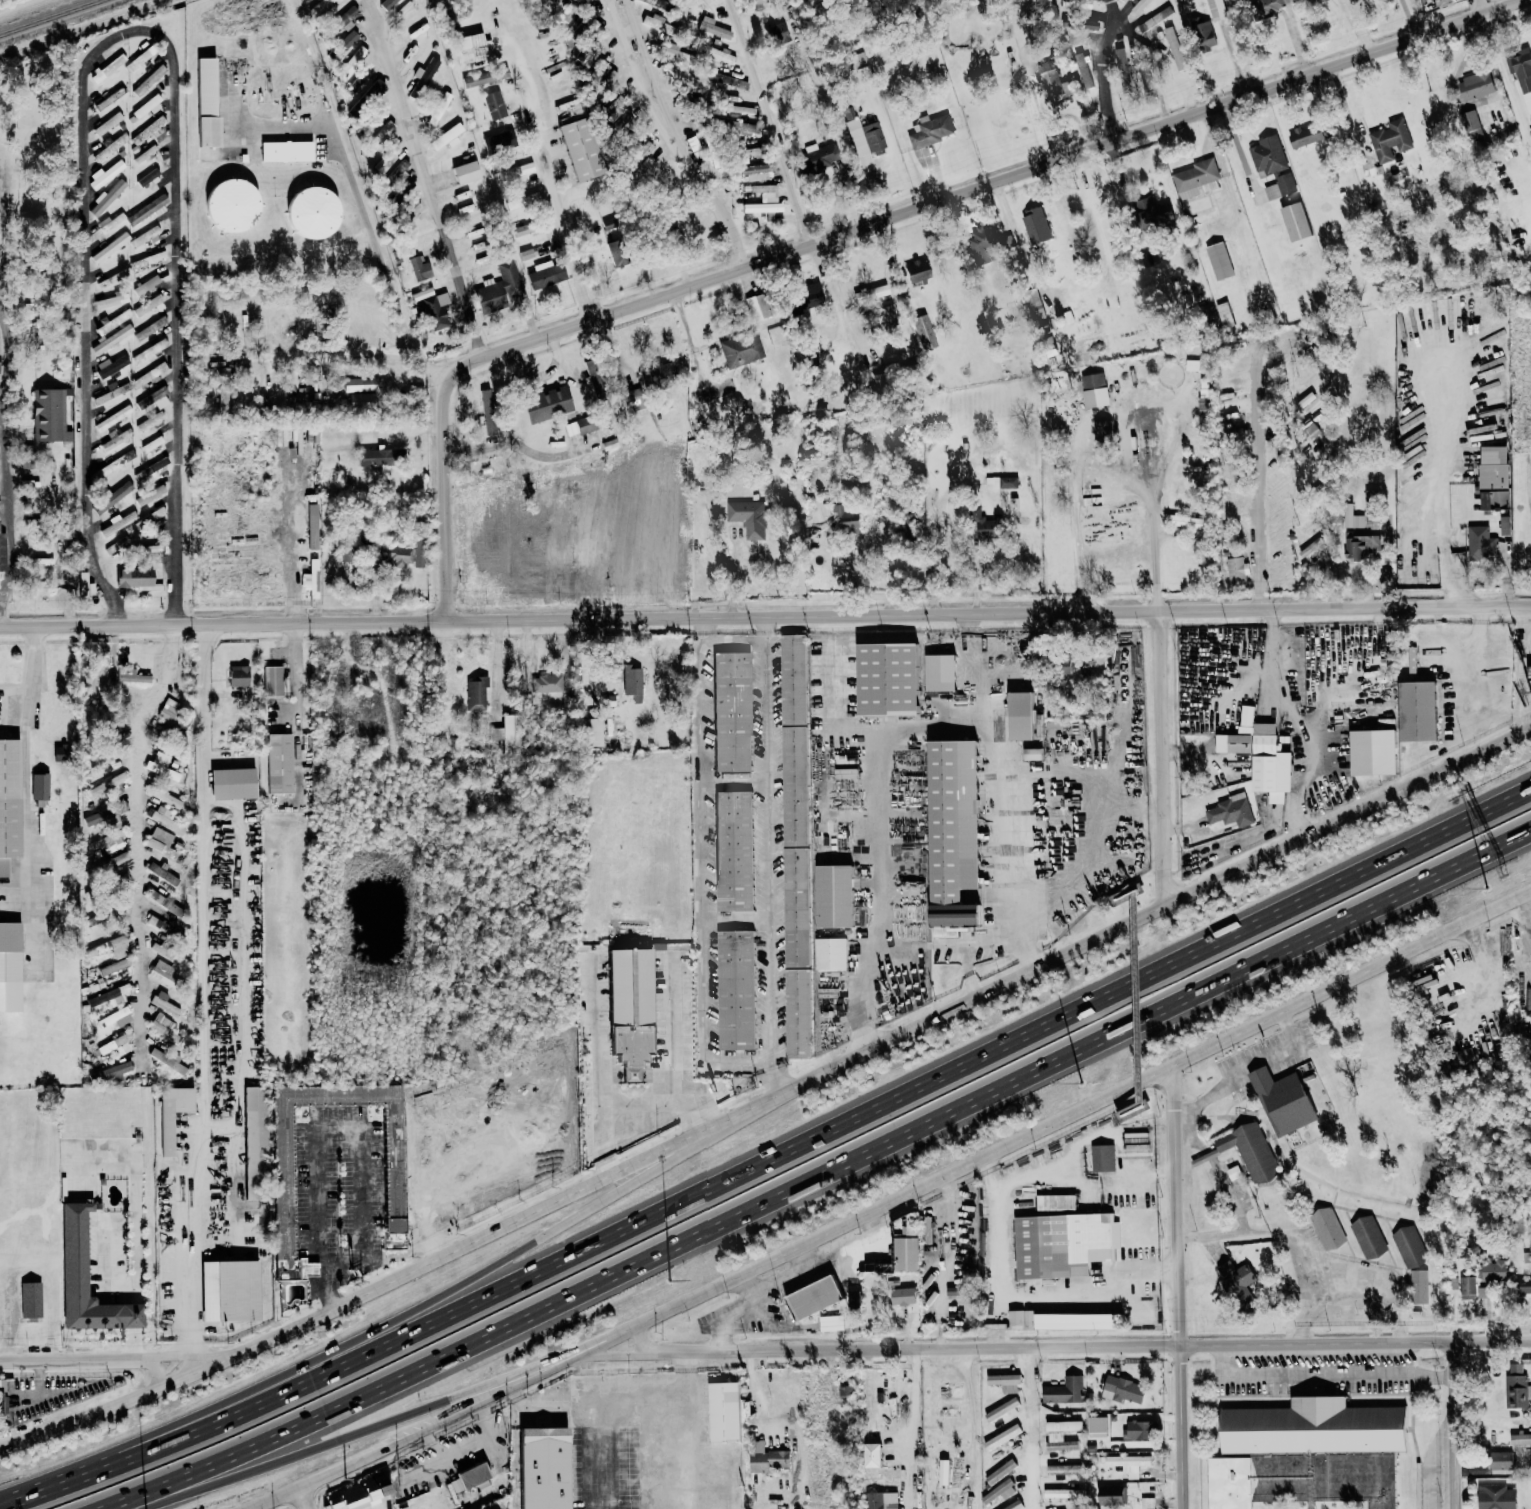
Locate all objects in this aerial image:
building: (560, 1)
building: (1122, 1)
building: (582, 2)
building: (653, 2)
building: (386, 3)
building: (1217, 3)
building: (1082, 4)
building: (319, 5)
building: (1139, 6)
building: (1266, 8)
building: (589, 15)
railway: (50, 16)
road: (733, 16)
building: (1154, 19)
building: (340, 20)
building: (1085, 25)
building: (712, 27)
building: (776, 33)
building: (1203, 33)
building: (346, 40)
building: (470, 47)
building: (1175, 48)
building: (666, 51)
building: (360, 52)
building: (719, 54)
building: (685, 57)
building: (138, 59)
building: (859, 60)
building: (107, 67)
road: (1104, 67)
building: (1520, 67)
building: (1083, 69)
building: (425, 70)
building: (484, 77)
building: (1146, 77)
building: (685, 78)
building: (1050, 79)
building: (148, 80)
building: (727, 80)
road: (1507, 80)
building: (1475, 85)
building: (375, 86)
building: (105, 96)
building: (205, 103)
building: (493, 104)
building: (147, 105)
building: (438, 108)
building: (741, 109)
road: (1346, 110)
road: (1055, 112)
building: (610, 114)
road: (170, 117)
building: (1469, 119)
building: (107, 123)
building: (740, 127)
building: (147, 129)
building: (930, 130)
building: (862, 133)
building: (1474, 134)
building: (1305, 135)
road: (670, 136)
building: (378, 137)
building: (446, 137)
road: (774, 137)
building: (1390, 139)
building: (504, 140)
building: (693, 143)
road: (1237, 144)
building: (110, 147)
building: (579, 149)
building: (286, 150)
building: (745, 152)
building: (144, 154)
building: (711, 154)
building: (641, 156)
building: (813, 158)
building: (1271, 165)
building: (521, 169)
building: (399, 170)
building: (464, 171)
building: (753, 172)
building: (110, 173)
road: (423, 178)
building: (1196, 178)
building: (145, 181)
building: (762, 191)
road: (355, 193)
building: (106, 198)
building: (522, 200)
building: (229, 204)
building: (763, 208)
building: (146, 210)
building: (309, 212)
building: (408, 212)
building: (1152, 212)
road: (86, 215)
road: (558, 215)
building: (1295, 220)
building: (110, 222)
road: (865, 223)
building: (1035, 225)
building: (523, 229)
building: (144, 236)
building: (981, 244)
building: (110, 247)
building: (615, 252)
building: (526, 254)
building: (147, 259)
building: (1219, 260)
building: (418, 268)
building: (916, 271)
building: (545, 274)
building: (113, 278)
building: (145, 285)
road: (827, 287)
building: (494, 290)
building: (870, 292)
road: (846, 294)
building: (807, 298)
building: (112, 299)
building: (1028, 300)
building: (147, 304)
building: (756, 307)
building: (436, 310)
building: (881, 311)
building: (1207, 313)
building: (1224, 313)
building: (1066, 317)
building: (113, 322)
road: (176, 331)
building: (923, 332)
road: (1295, 334)
road: (688, 339)
building: (1234, 343)
building: (740, 349)
building: (149, 351)
road: (334, 355)
building: (1191, 364)
building: (110, 365)
building: (660, 370)
building: (148, 375)
building: (1268, 382)
building: (360, 384)
building: (1094, 389)
building: (111, 393)
building: (147, 399)
building: (359, 399)
building: (1305, 399)
building: (632, 400)
road: (5, 401)
building: (546, 404)
building: (48, 415)
building: (112, 418)
building: (149, 421)
building: (579, 426)
building: (1101, 430)
building: (1311, 430)
building: (116, 438)
building: (380, 456)
building: (115, 463)
road: (1447, 463)
building: (1493, 466)
road: (1107, 475)
building: (1000, 482)
road: (85, 492)
building: (149, 493)
building: (113, 497)
building: (1491, 497)
building: (1371, 509)
building: (748, 517)
building: (1352, 517)
building: (845, 519)
building: (1184, 521)
building: (907, 522)
building: (117, 523)
building: (983, 525)
building: (1504, 525)
building: (312, 526)
road: (887, 530)
building: (60, 532)
building: (1481, 542)
building: (117, 545)
building: (1360, 547)
building: (1311, 548)
building: (147, 550)
building: (405, 551)
building: (2, 552)
building: (1237, 569)
building: (133, 577)
building: (311, 579)
building: (82, 588)
road: (1396, 603)
road: (630, 613)
road: (1524, 659)
road: (302, 666)
road: (973, 667)
building: (939, 672)
building: (238, 675)
building: (130, 676)
road: (1481, 677)
building: (886, 678)
building: (793, 679)
building: (272, 680)
building: (632, 682)
road: (1248, 682)
building: (87, 683)
building: (546, 683)
road: (1272, 684)
building: (475, 693)
building: (1417, 710)
building: (731, 711)
building: (169, 712)
building: (1019, 715)
building: (495, 733)
building: (591, 733)
building: (1032, 753)
road: (1166, 754)
building: (1259, 754)
building: (278, 763)
building: (161, 766)
road: (27, 771)
road: (1299, 774)
road: (739, 778)
building: (115, 783)
building: (231, 783)
building: (794, 785)
building: (39, 786)
road: (887, 796)
building: (165, 798)
building: (8, 802)
building: (1230, 810)
building: (106, 817)
building: (163, 819)
building: (952, 831)
building: (160, 842)
road: (1014, 846)
road: (1100, 847)
building: (733, 850)
road: (776, 856)
road: (144, 864)
road: (706, 867)
road: (1142, 890)
building: (834, 895)
building: (796, 907)
road: (743, 916)
road: (1126, 924)
road: (919, 943)
road: (968, 945)
building: (830, 953)
building: (9, 967)
building: (161, 970)
building: (735, 989)
road: (1137, 995)
road: (205, 999)
road: (865, 1000)
building: (628, 1004)
building: (797, 1013)
building: (115, 1018)
building: (163, 1027)
road: (598, 1040)
building: (115, 1045)
building: (1462, 1055)
road: (674, 1056)
building: (166, 1059)
building: (112, 1072)
road: (1146, 1095)
building: (1282, 1101)
road: (636, 1108)
road: (1062, 1124)
road: (354, 1125)
building: (166, 1134)
road: (822, 1136)
building: (253, 1143)
building: (1250, 1151)
road: (608, 1153)
building: (1102, 1157)
road: (830, 1168)
road: (991, 1171)
building: (392, 1178)
road: (1086, 1184)
road: (1232, 1198)
building: (1055, 1202)
building: (1523, 1219)
building: (1326, 1228)
building: (1368, 1236)
building: (873, 1237)
road: (995, 1239)
road: (1295, 1240)
building: (1063, 1244)
building: (905, 1246)
building: (1409, 1246)
building: (72, 1254)
building: (1526, 1257)
road: (346, 1262)
road: (942, 1263)
building: (1493, 1270)
building: (1238, 1286)
building: (1418, 1287)
building: (1522, 1287)
road: (1183, 1288)
building: (1467, 1288)
road: (749, 1289)
road: (1378, 1289)
building: (228, 1291)
building: (1483, 1292)
road: (761, 1295)
road: (1103, 1295)
building: (902, 1296)
road: (367, 1297)
building: (812, 1298)
building: (30, 1300)
road: (423, 1310)
road: (996, 1320)
building: (1063, 1321)
building: (831, 1323)
road: (1082, 1344)
road: (92, 1360)
road: (1328, 1374)
building: (1004, 1381)
building: (1122, 1389)
building: (1064, 1390)
building: (1515, 1390)
building: (844, 1392)
road: (516, 1394)
road: (914, 1396)
building: (3, 1406)
road: (559, 1407)
building: (1001, 1408)
road: (483, 1410)
building: (723, 1410)
road: (615, 1411)
road: (1460, 1423)
building: (1063, 1425)
building: (1096, 1426)
road: (1029, 1427)
building: (1136, 1429)
road: (423, 1431)
road: (363, 1434)
road: (430, 1435)
building: (1002, 1436)
building: (1520, 1438)
building: (1059, 1441)
road: (464, 1448)
building: (1307, 1452)
building: (871, 1454)
building: (765, 1457)
building: (1499, 1460)
building: (1530, 1460)
building: (1128, 1463)
building: (542, 1467)
building: (1005, 1467)
building: (1063, 1469)
building: (943, 1471)
building: (474, 1477)
building: (372, 1483)
road: (53, 1487)
building: (999, 1491)
building: (1062, 1493)
building: (1112, 1494)
building: (1495, 1496)
road: (304, 1498)
building: (345, 1500)
building: (881, 1500)
building: (1147, 1502)
building: (1013, 1505)
road: (126, 1507)

